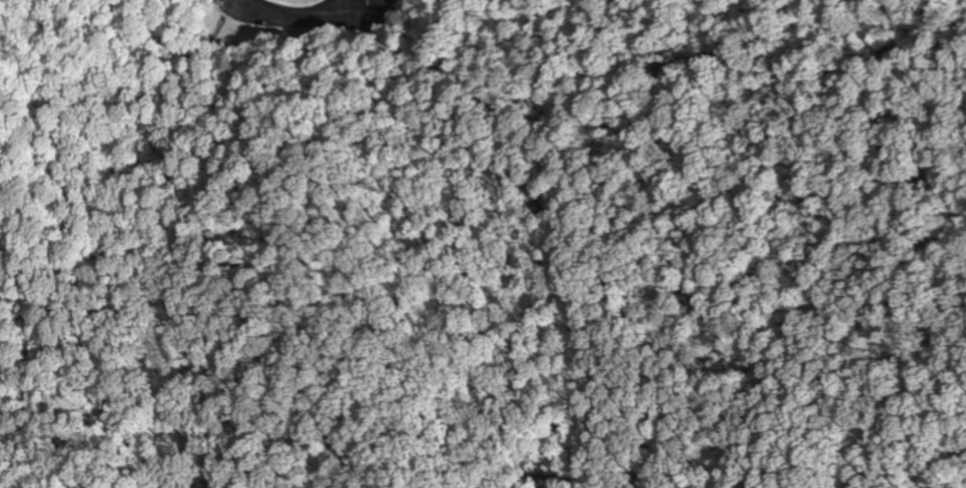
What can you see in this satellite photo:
building: (382, 9)

